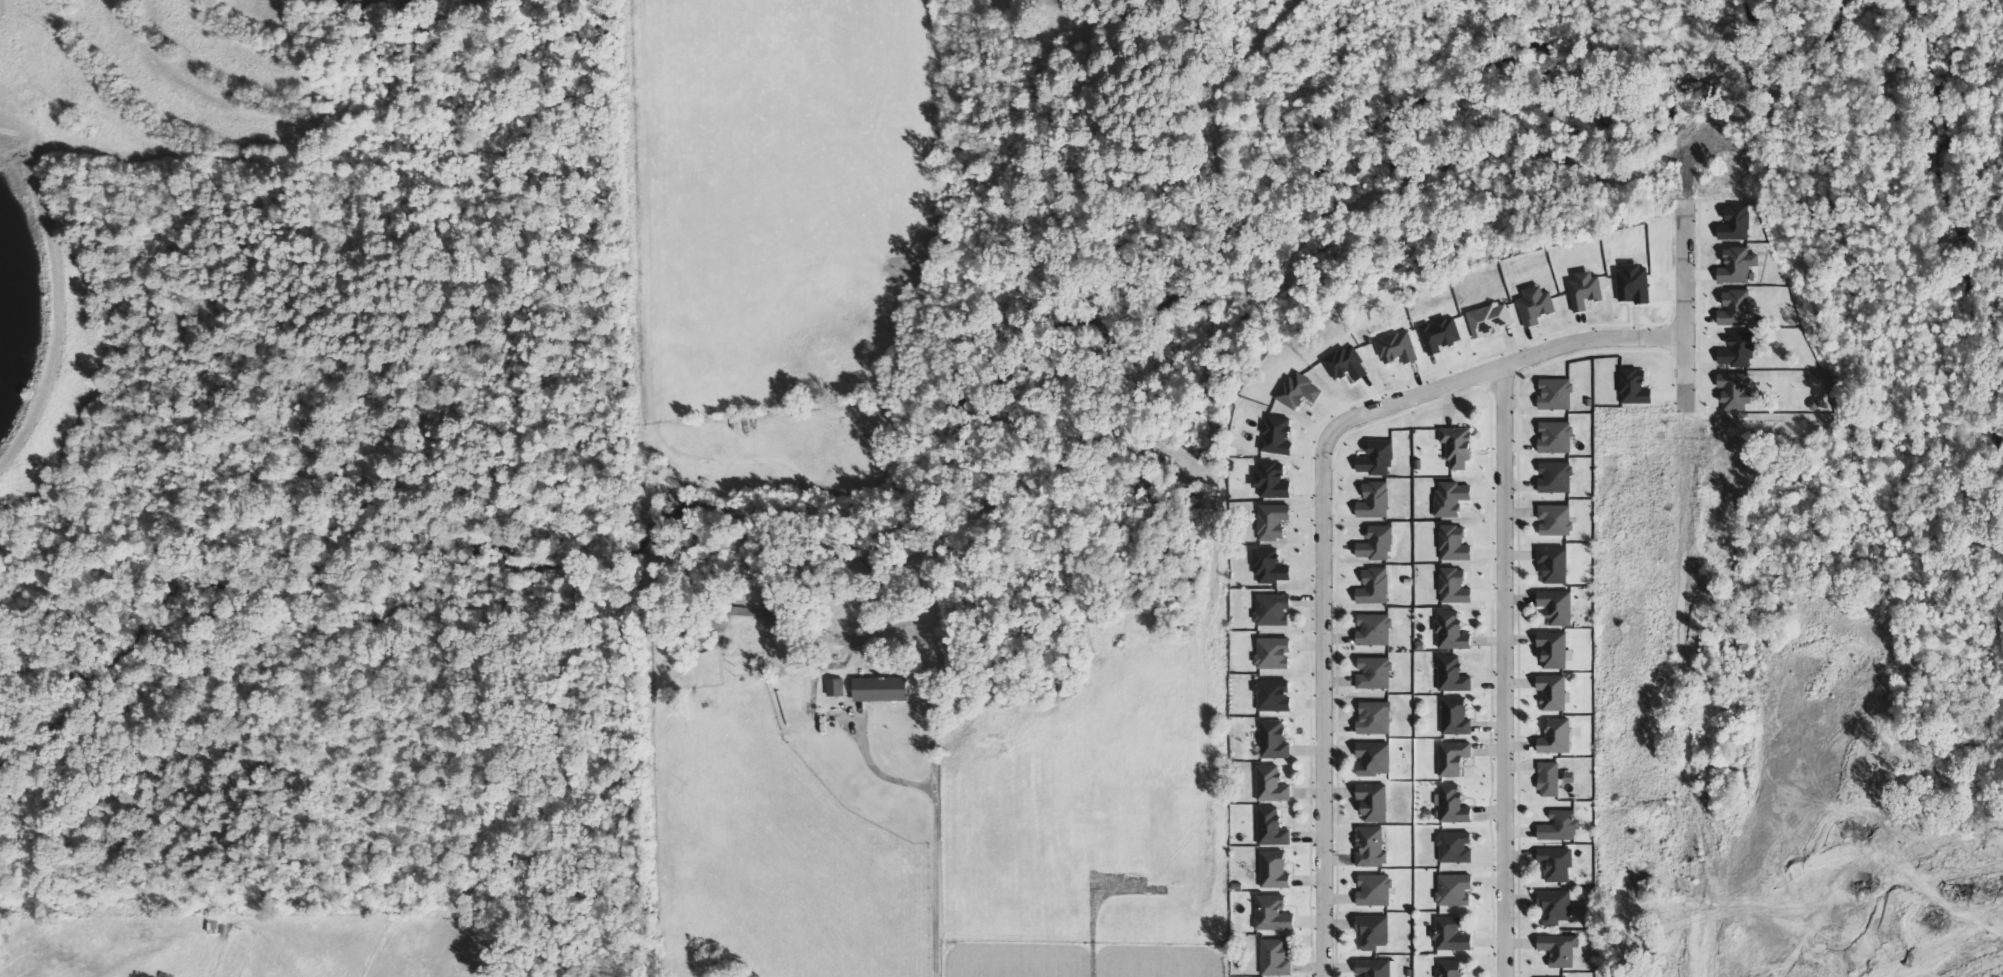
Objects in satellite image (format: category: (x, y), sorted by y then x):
building: (1736, 224)
building: (1738, 266)
building: (1634, 285)
building: (1586, 291)
road: (1685, 296)
building: (1537, 306)
building: (1737, 309)
building: (1490, 320)
building: (1441, 335)
building: (1398, 348)
building: (1739, 351)
building: (1347, 364)
building: (1635, 387)
building: (1300, 391)
building: (1736, 391)
building: (1557, 394)
building: (1278, 435)
building: (1556, 438)
building: (1458, 446)
building: (1378, 459)
building: (1556, 477)
building: (1273, 481)
building: (1452, 498)
building: (1375, 501)
road: (1325, 519)
building: (1556, 520)
building: (1273, 521)
building: (1378, 544)
building: (1455, 544)
building: (1555, 564)
building: (1270, 567)
building: (1455, 586)
building: (1375, 587)
building: (1558, 607)
building: (1273, 610)
building: (776, 611)
building: (1375, 630)
building: (1453, 632)
building: (1556, 650)
building: (1274, 653)
road: (1504, 672)
building: (1375, 673)
building: (1453, 675)
building: (837, 687)
building: (882, 689)
building: (1555, 693)
building: (1275, 696)
building: (1457, 717)
building: (1376, 718)
building: (1558, 737)
building: (1275, 740)
building: (1454, 758)
building: (1375, 759)
building: (1570, 777)
building: (1550, 779)
building: (1272, 784)
building: (1375, 802)
building: (1453, 805)
building: (1561, 827)
building: (1272, 828)
building: (1372, 847)
building: (1456, 847)
building: (1557, 864)
building: (1275, 870)
building: (1376, 890)
building: (1456, 890)
building: (1556, 907)
building: (1273, 914)
building: (1374, 932)
building: (1452, 935)
building: (1560, 950)
building: (1276, 958)
building: (1378, 968)
building: (1451, 968)

